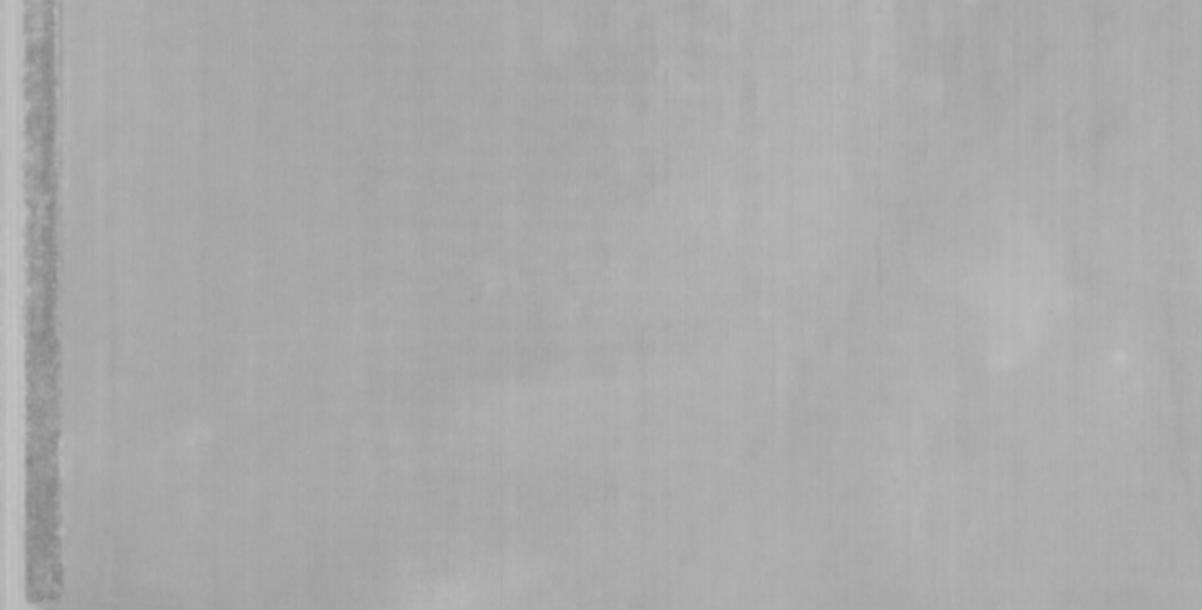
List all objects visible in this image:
road: (7, 304)
crop: (628, 304)

